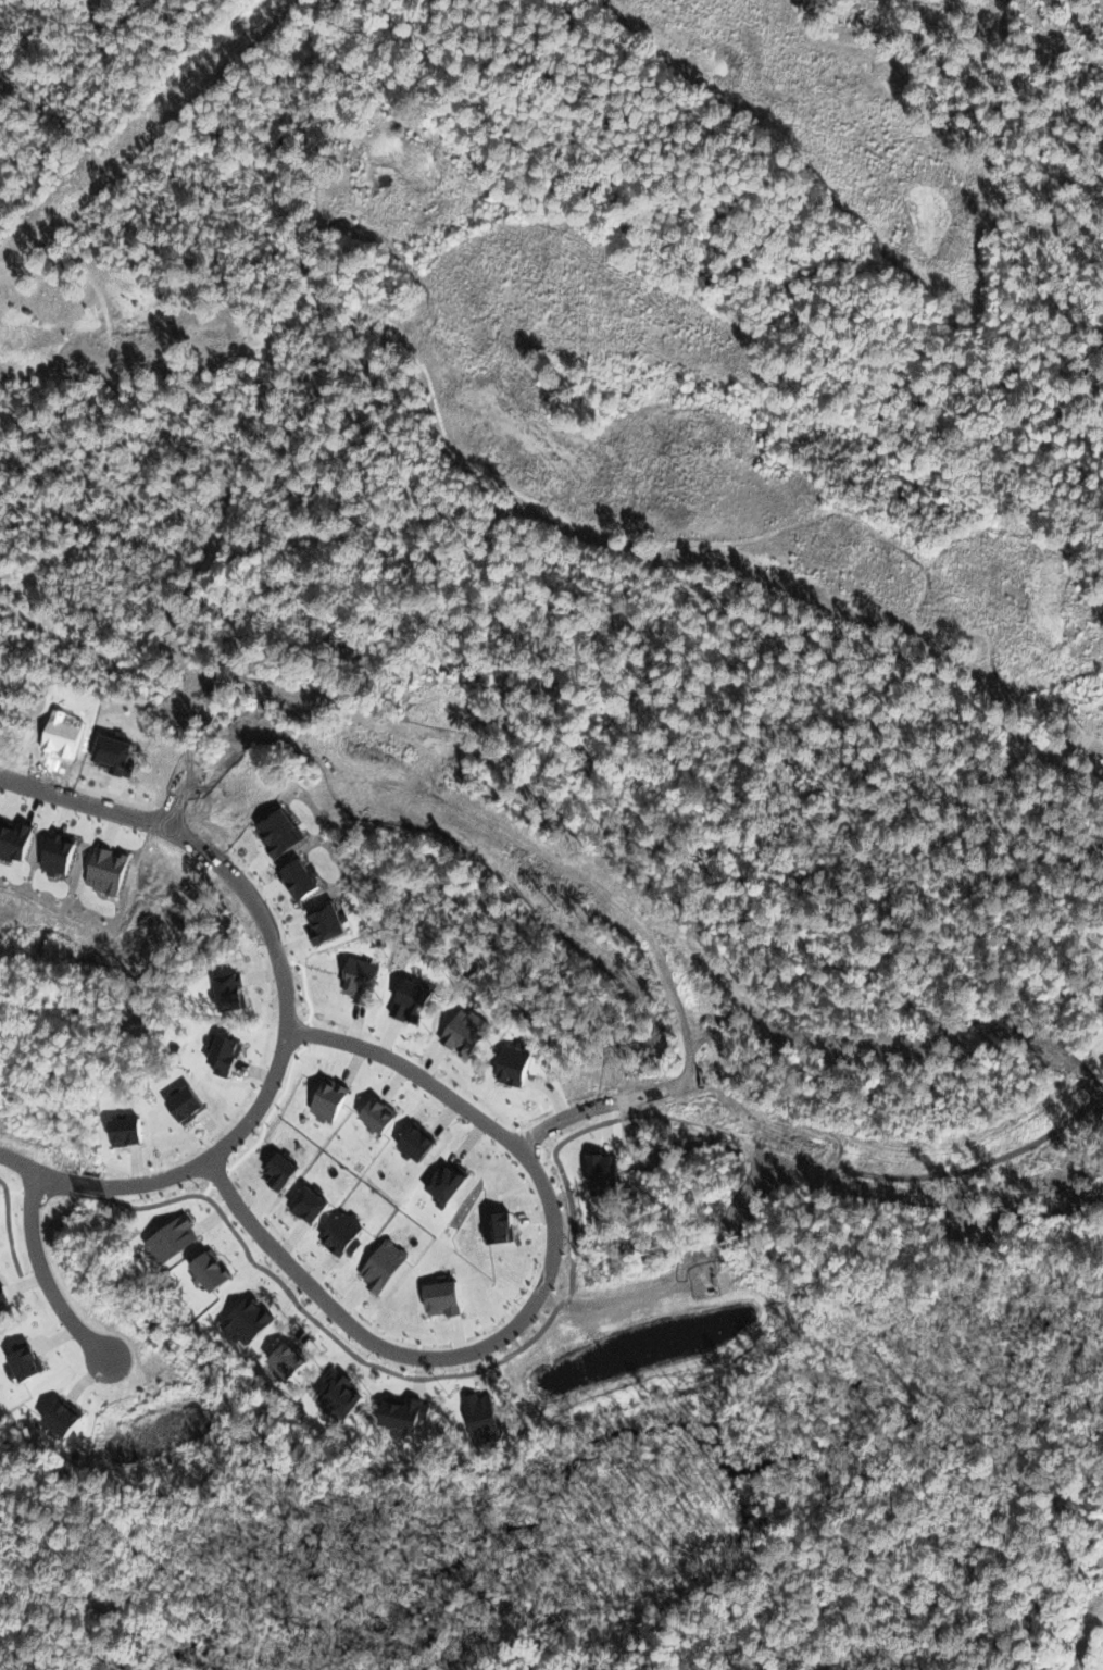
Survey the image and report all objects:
park: (606, 294)
road: (152, 823)
park: (66, 894)
building: (363, 980)
building: (238, 990)
building: (416, 1000)
building: (469, 1032)
building: (226, 1052)
building: (519, 1064)
building: (333, 1100)
building: (192, 1105)
building: (384, 1114)
building: (133, 1130)
road: (224, 1135)
building: (423, 1142)
building: (606, 1170)
building: (284, 1171)
building: (452, 1182)
building: (313, 1205)
building: (503, 1227)
building: (346, 1233)
building: (177, 1239)
building: (386, 1264)
building: (217, 1271)
road: (51, 1279)
building: (5, 1297)
building: (434, 1297)
road: (536, 1300)
building: (252, 1320)
building: (293, 1358)
building: (29, 1361)
building: (333, 1391)
building: (398, 1413)
building: (70, 1417)
building: (476, 1418)

